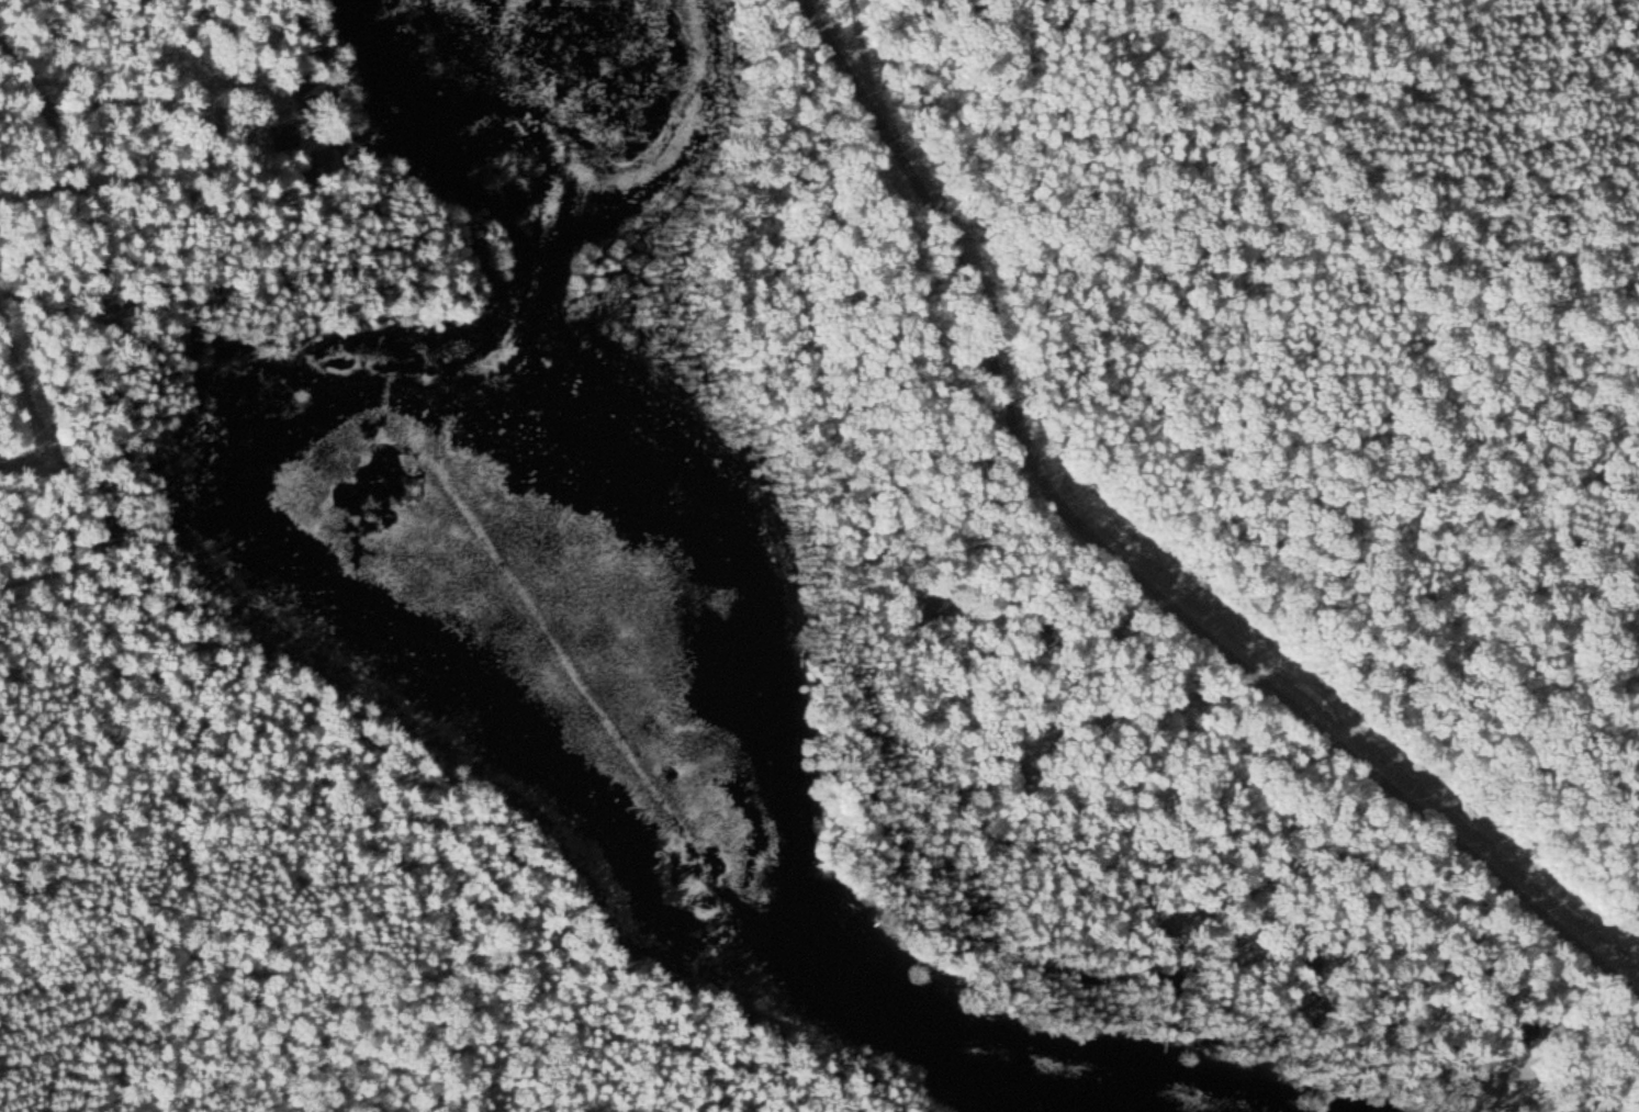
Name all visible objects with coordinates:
building: (282, 134)
building: (313, 164)
road: (1124, 571)
road: (86, 576)
road: (52, 652)
building: (1526, 1031)
building: (1480, 1093)

